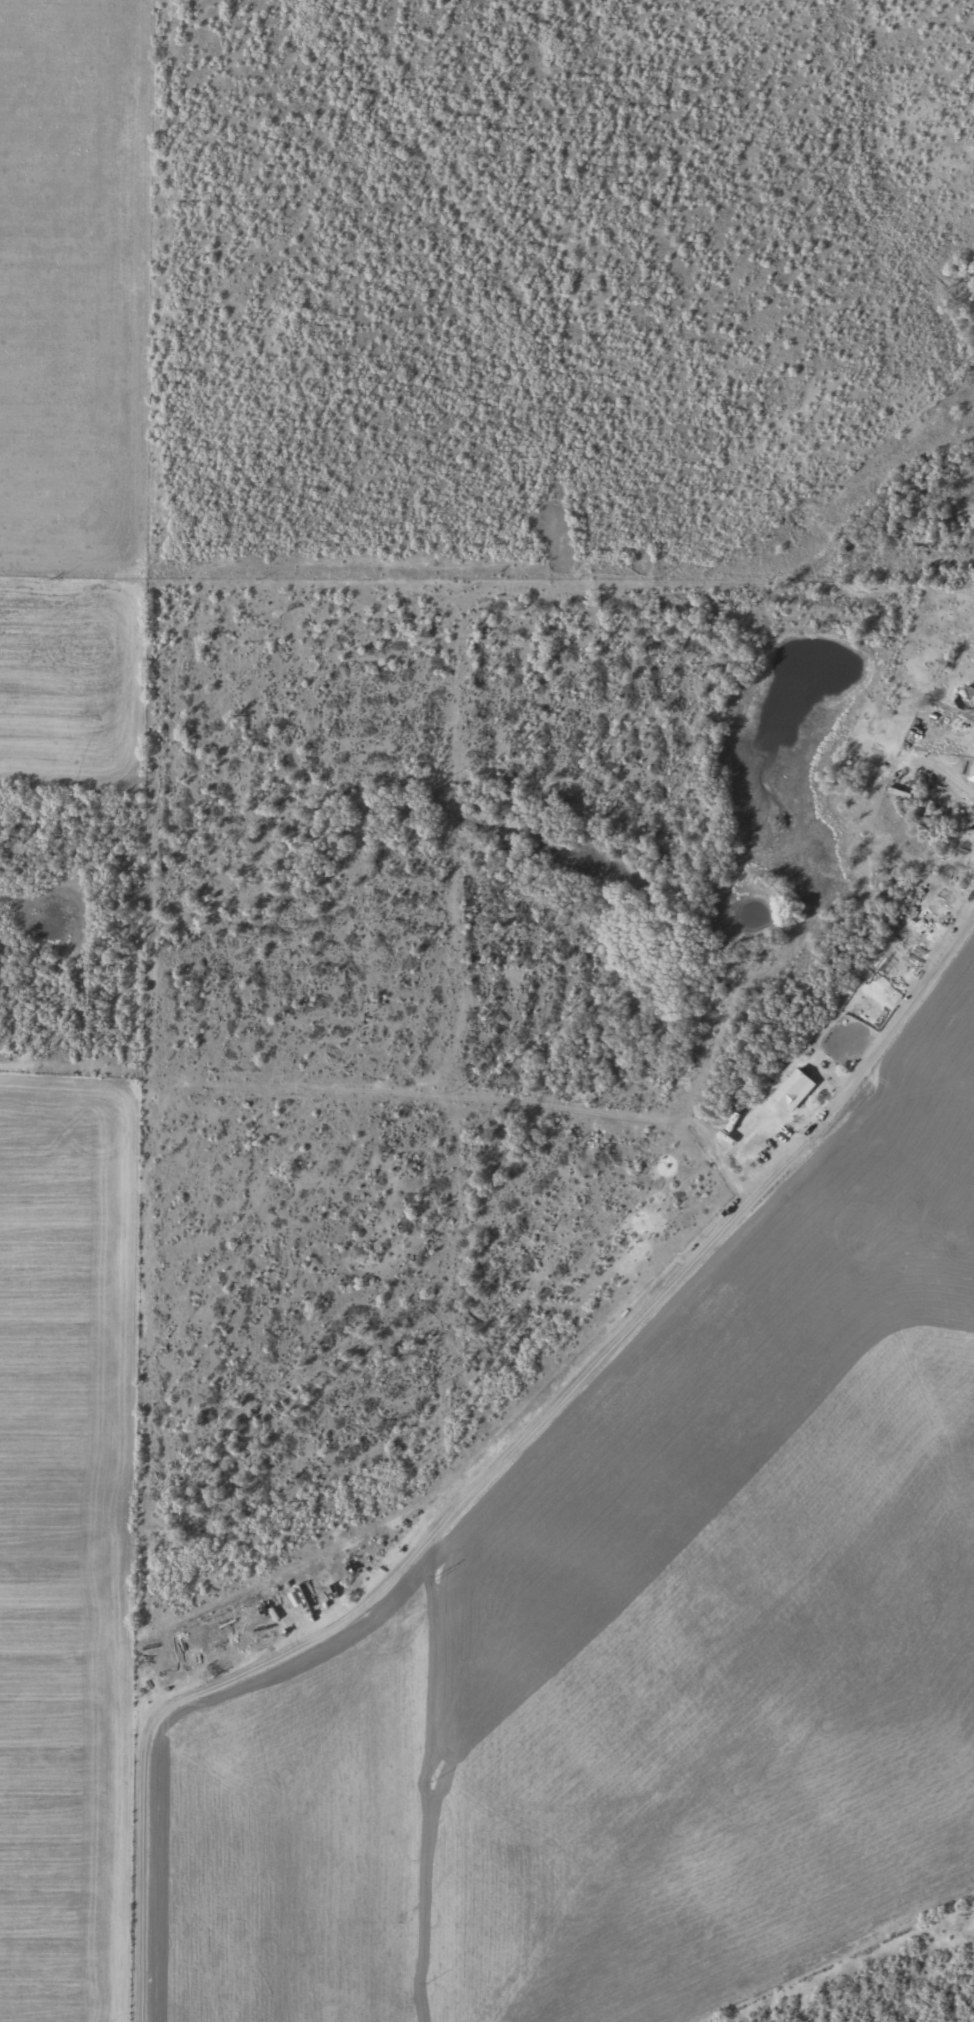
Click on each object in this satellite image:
building: (971, 773)
building: (813, 1069)
building: (789, 1088)

